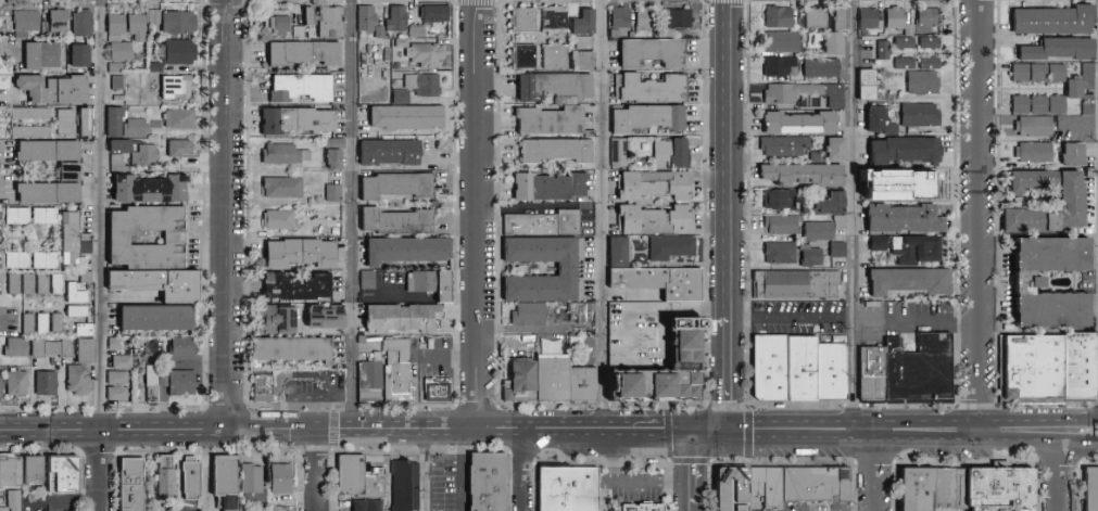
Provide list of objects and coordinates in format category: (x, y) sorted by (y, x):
building: (305, 14)
building: (436, 14)
building: (154, 16)
building: (311, 16)
building: (622, 17)
building: (646, 17)
building: (781, 17)
building: (841, 17)
building: (897, 17)
building: (931, 17)
building: (397, 18)
building: (525, 18)
building: (679, 18)
building: (816, 18)
building: (871, 18)
building: (556, 20)
building: (27, 21)
building: (59, 21)
building: (332, 22)
building: (367, 22)
building: (585, 22)
building: (1055, 22)
building: (180, 23)
building: (279, 23)
building: (84, 24)
building: (117, 24)
building: (138, 27)
building: (46, 29)
building: (911, 30)
building: (418, 31)
building: (300, 33)
building: (381, 33)
building: (616, 34)
building: (23, 35)
building: (784, 41)
building: (835, 42)
building: (404, 43)
building: (585, 43)
building: (906, 43)
building: (932, 43)
building: (122, 50)
building: (885, 50)
building: (654, 51)
building: (1060, 51)
building: (178, 52)
building: (304, 52)
building: (428, 54)
building: (42, 55)
building: (81, 55)
building: (525, 56)
building: (556, 56)
building: (584, 60)
building: (906, 63)
building: (932, 63)
building: (782, 66)
building: (156, 67)
building: (117, 68)
building: (823, 68)
building: (1021, 74)
building: (1039, 74)
building: (1058, 74)
building: (1089, 77)
building: (156, 78)
building: (924, 82)
building: (119, 84)
building: (177, 85)
building: (425, 85)
building: (555, 85)
building: (871, 86)
building: (302, 87)
building: (54, 88)
building: (652, 88)
building: (1075, 89)
building: (805, 93)
building: (403, 97)
building: (1021, 105)
building: (1039, 105)
building: (1058, 105)
building: (1089, 106)
building: (30, 114)
building: (921, 115)
building: (408, 116)
building: (180, 118)
building: (651, 118)
building: (298, 119)
building: (116, 120)
building: (552, 120)
building: (881, 122)
building: (66, 123)
building: (88, 123)
building: (802, 123)
building: (136, 128)
building: (1035, 128)
building: (30, 131)
building: (914, 131)
building: (592, 133)
building: (336, 143)
building: (122, 146)
building: (787, 146)
building: (181, 149)
building: (837, 149)
building: (559, 151)
building: (907, 151)
building: (392, 152)
building: (622, 153)
building: (286, 154)
building: (673, 154)
building: (1035, 154)
building: (147, 156)
building: (1074, 156)
building: (819, 157)
building: (336, 158)
road: (728, 158)
building: (119, 164)
building: (71, 171)
building: (805, 175)
building: (922, 181)
building: (399, 186)
building: (551, 187)
building: (1089, 187)
building: (285, 188)
building: (151, 189)
building: (880, 189)
building: (336, 193)
building: (781, 199)
building: (685, 202)
building: (1071, 203)
building: (818, 205)
road: (353, 208)
road: (481, 208)
road: (602, 208)
road: (977, 208)
road: (855, 209)
road: (227, 214)
road: (103, 215)
building: (18, 216)
building: (46, 216)
building: (280, 219)
building: (906, 219)
building: (399, 221)
building: (545, 223)
building: (783, 225)
building: (825, 229)
building: (88, 237)
building: (175, 238)
building: (71, 239)
building: (882, 243)
building: (87, 247)
building: (672, 247)
building: (408, 250)
building: (919, 250)
building: (840, 251)
building: (620, 252)
building: (302, 253)
building: (782, 253)
building: (812, 256)
building: (18, 260)
building: (46, 260)
building: (571, 269)
building: (87, 277)
building: (369, 280)
building: (664, 281)
building: (911, 281)
building: (1026, 281)
building: (161, 283)
building: (432, 283)
building: (14, 284)
building: (28, 284)
building: (798, 284)
building: (43, 285)
building: (58, 285)
building: (298, 285)
building: (76, 294)
building: (78, 311)
building: (584, 311)
building: (531, 315)
road: (791, 316)
building: (326, 317)
building: (157, 318)
building: (403, 318)
building: (277, 320)
building: (29, 323)
building: (43, 323)
building: (58, 323)
road: (916, 324)
building: (85, 330)
road: (728, 333)
building: (116, 345)
building: (17, 347)
building: (184, 347)
building: (52, 348)
building: (86, 349)
building: (294, 349)
road: (429, 356)
building: (377, 357)
building: (124, 362)
building: (769, 368)
building: (800, 369)
building: (399, 371)
building: (830, 371)
building: (666, 372)
building: (1081, 373)
building: (1034, 375)
building: (907, 376)
building: (80, 379)
building: (118, 379)
building: (552, 381)
building: (18, 383)
building: (180, 383)
building: (371, 383)
building: (47, 384)
building: (153, 384)
building: (265, 388)
road: (727, 388)
building: (439, 391)
building: (118, 394)
road: (311, 394)
road: (582, 418)
road: (957, 418)
road: (355, 419)
road: (775, 419)
road: (52, 421)
road: (709, 429)
traffic signals: (727, 429)
road: (168, 430)
traffic signals: (696, 430)
road: (646, 437)
road: (567, 438)
road: (52, 439)
road: (378, 439)
road: (854, 443)
road: (1018, 443)
road: (1078, 443)
road: (696, 465)
building: (33, 470)
road: (206, 470)
road: (102, 471)
building: (10, 472)
building: (346, 473)
building: (63, 474)
building: (226, 474)
road: (313, 475)
road: (425, 475)
road: (462, 475)
road: (525, 475)
building: (165, 476)
road: (1059, 476)
building: (252, 477)
road: (874, 477)
building: (190, 478)
building: (280, 478)
building: (371, 481)
road: (633, 481)
parking lot: (449, 482)
building: (487, 482)
building: (131, 485)
building: (403, 485)
building: (808, 485)
building: (843, 485)
building: (772, 488)
building: (949, 488)
building: (566, 489)
building: (731, 489)
building: (918, 489)
building: (999, 489)
building: (1090, 489)
road: (604, 493)
building: (13, 500)
building: (363, 504)
building: (640, 506)
road: (695, 507)
building: (273, 508)
building: (948, 509)
building: (230, 510)
building: (754, 510)

